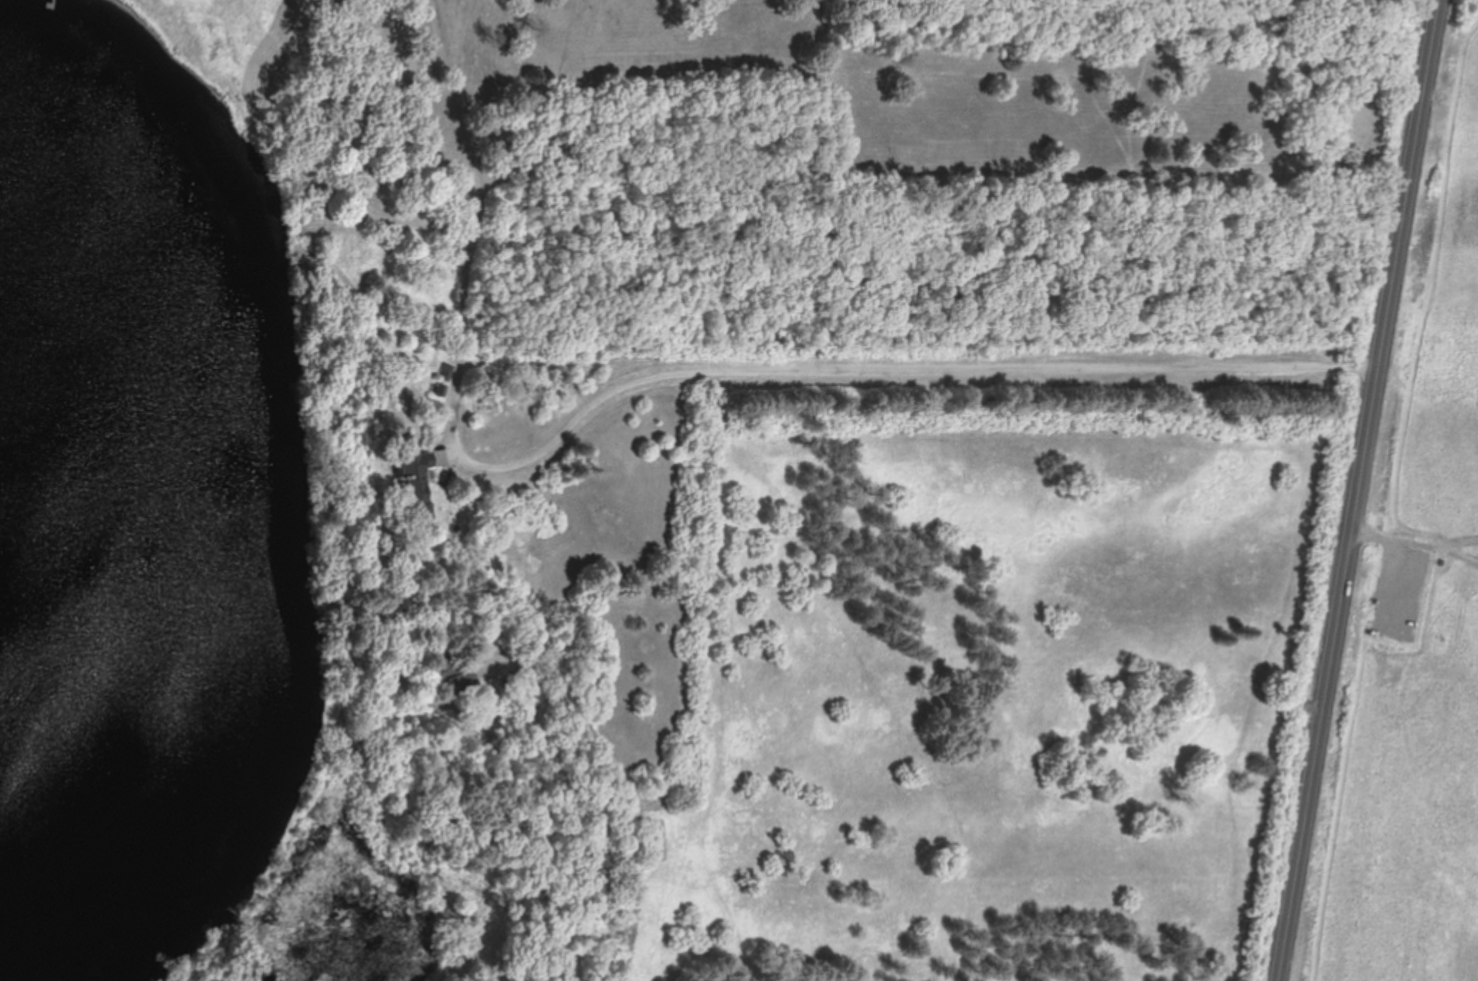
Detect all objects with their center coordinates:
road: (1426, 299)
road: (669, 370)
building: (415, 483)
road: (1357, 490)
road: (1443, 550)
road: (1404, 559)
parking lot: (1398, 589)
building: (468, 677)
road: (1347, 736)
road: (630, 790)

